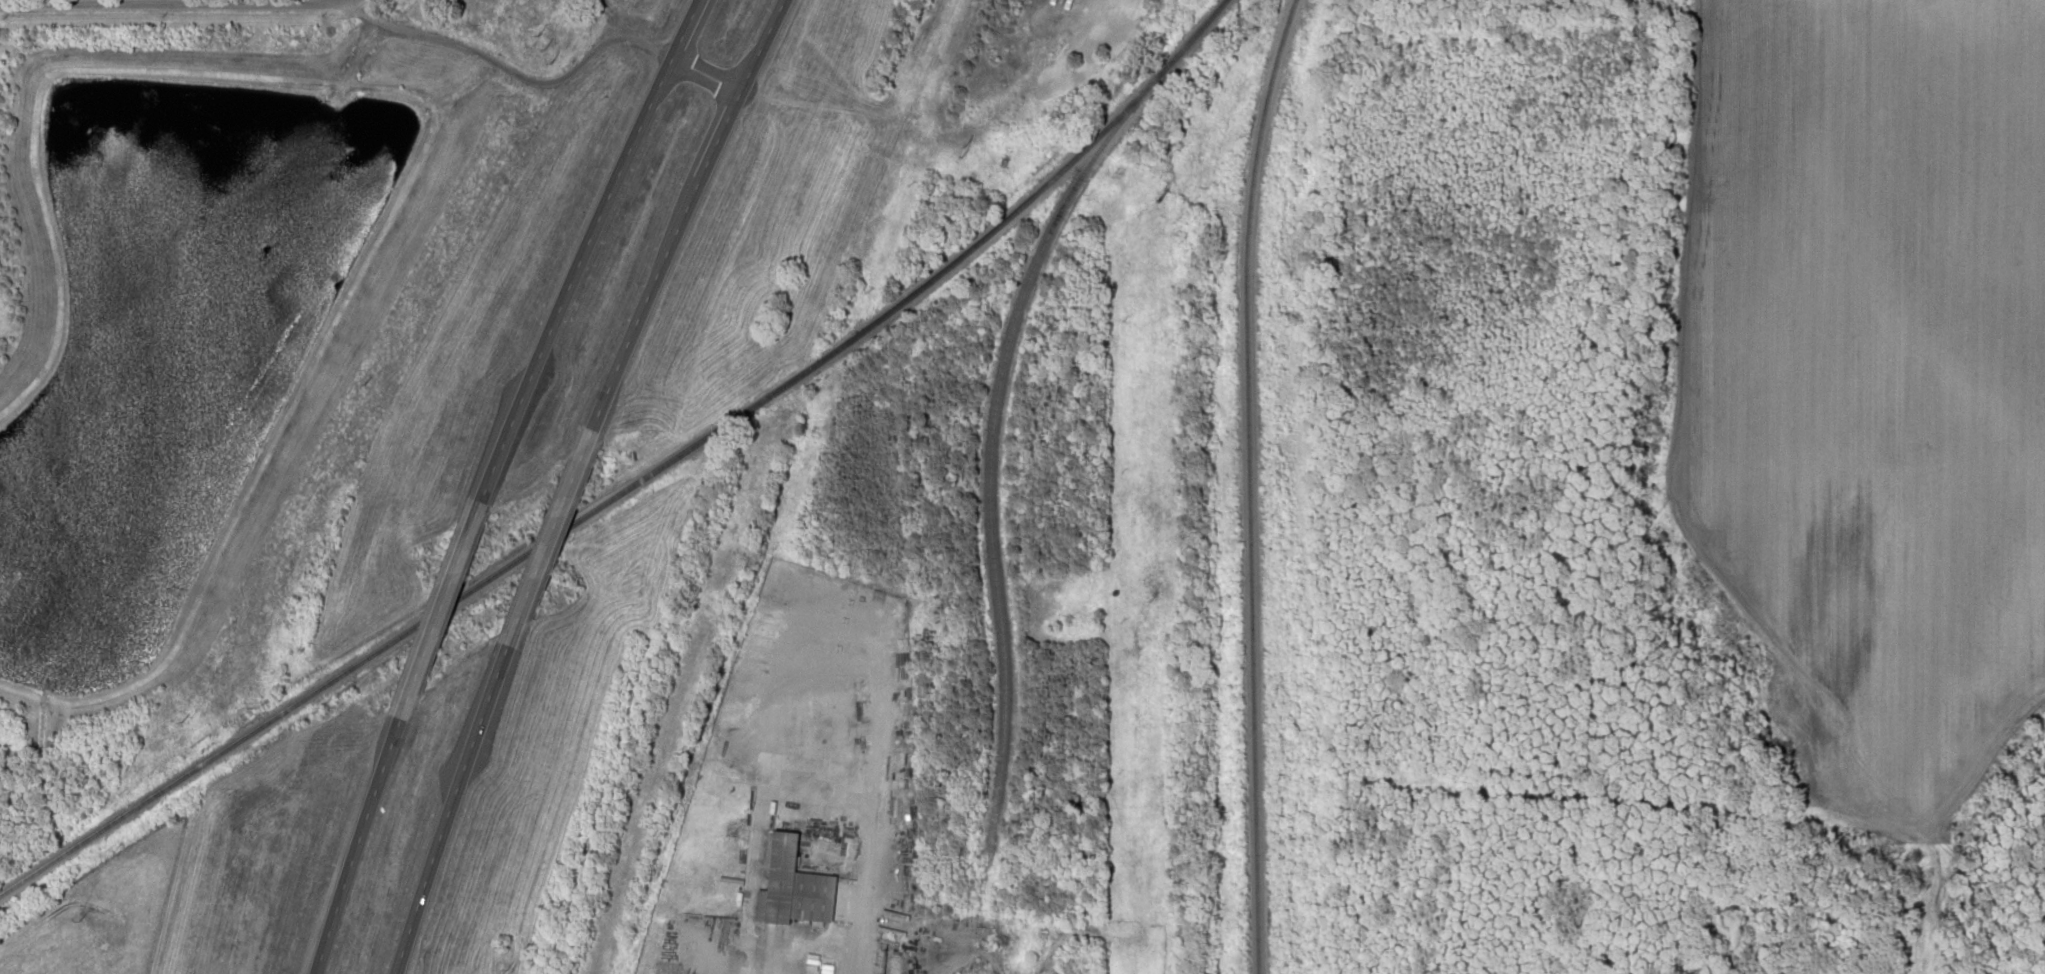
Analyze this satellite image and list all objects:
road: (172, 5)
road: (632, 33)
road: (705, 70)
road: (687, 212)
road: (584, 245)
railway: (640, 481)
railway: (1246, 484)
railway: (992, 521)
road: (554, 536)
road: (442, 605)
road: (453, 809)
road: (360, 845)
building: (792, 886)

